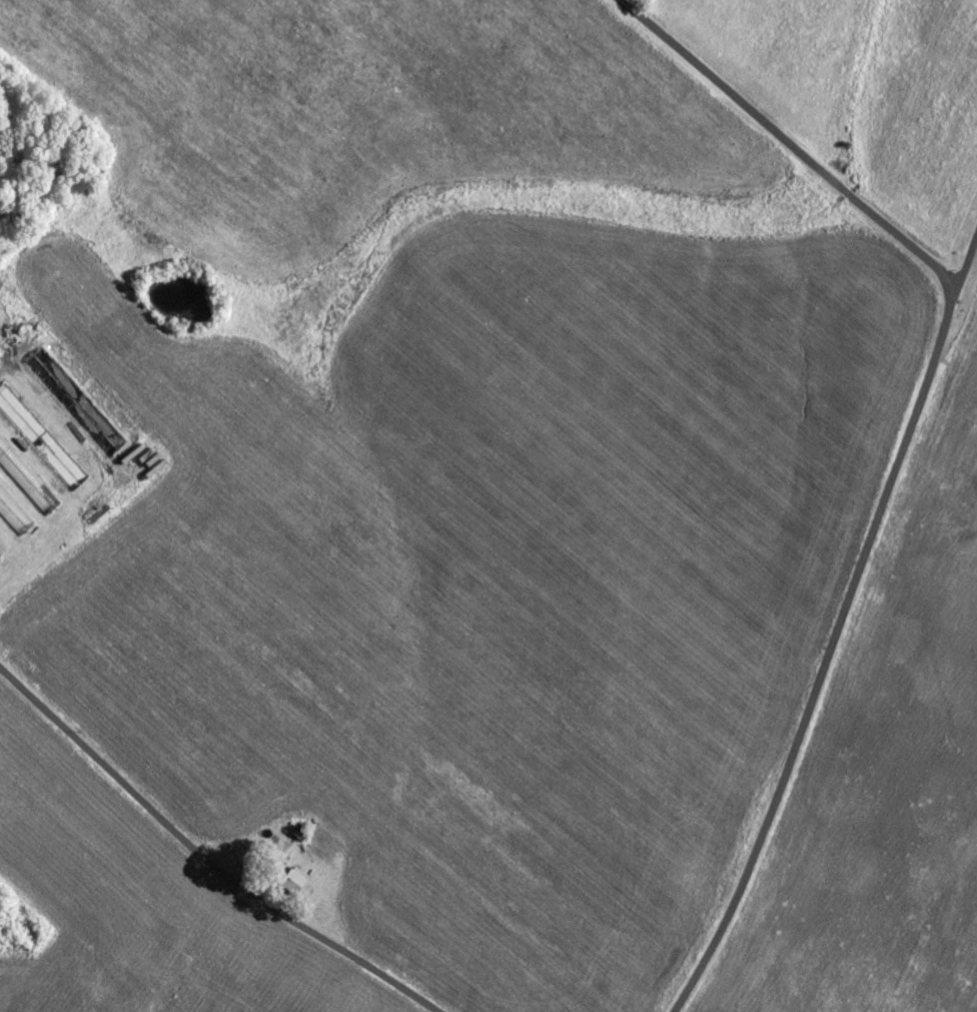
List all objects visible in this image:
road: (963, 238)
road: (902, 450)
building: (27, 477)
building: (14, 512)
road: (205, 856)
building: (295, 878)

